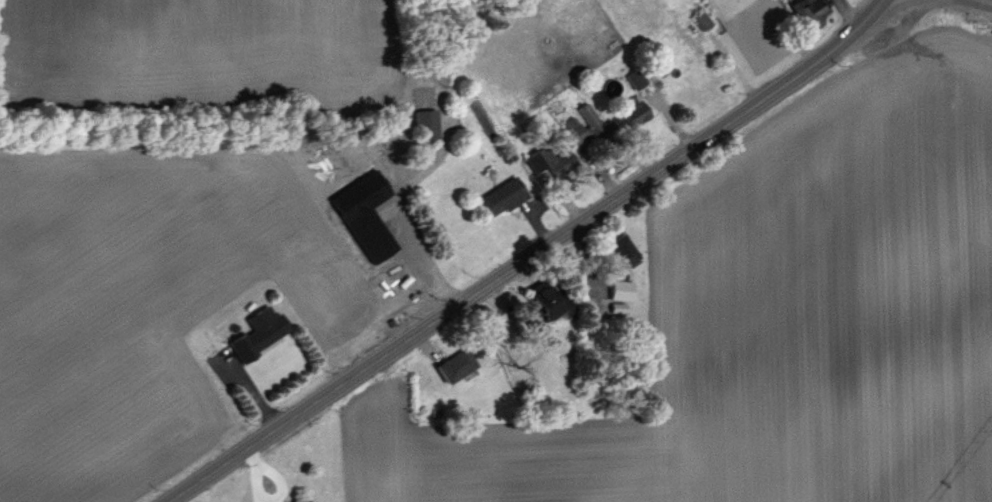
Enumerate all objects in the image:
road: (988, 1)
building: (806, 9)
building: (700, 21)
building: (635, 77)
building: (634, 110)
building: (427, 123)
building: (586, 123)
building: (551, 160)
building: (503, 195)
building: (624, 249)
road: (527, 257)
building: (622, 289)
building: (555, 298)
building: (261, 331)
building: (457, 365)
building: (302, 498)

